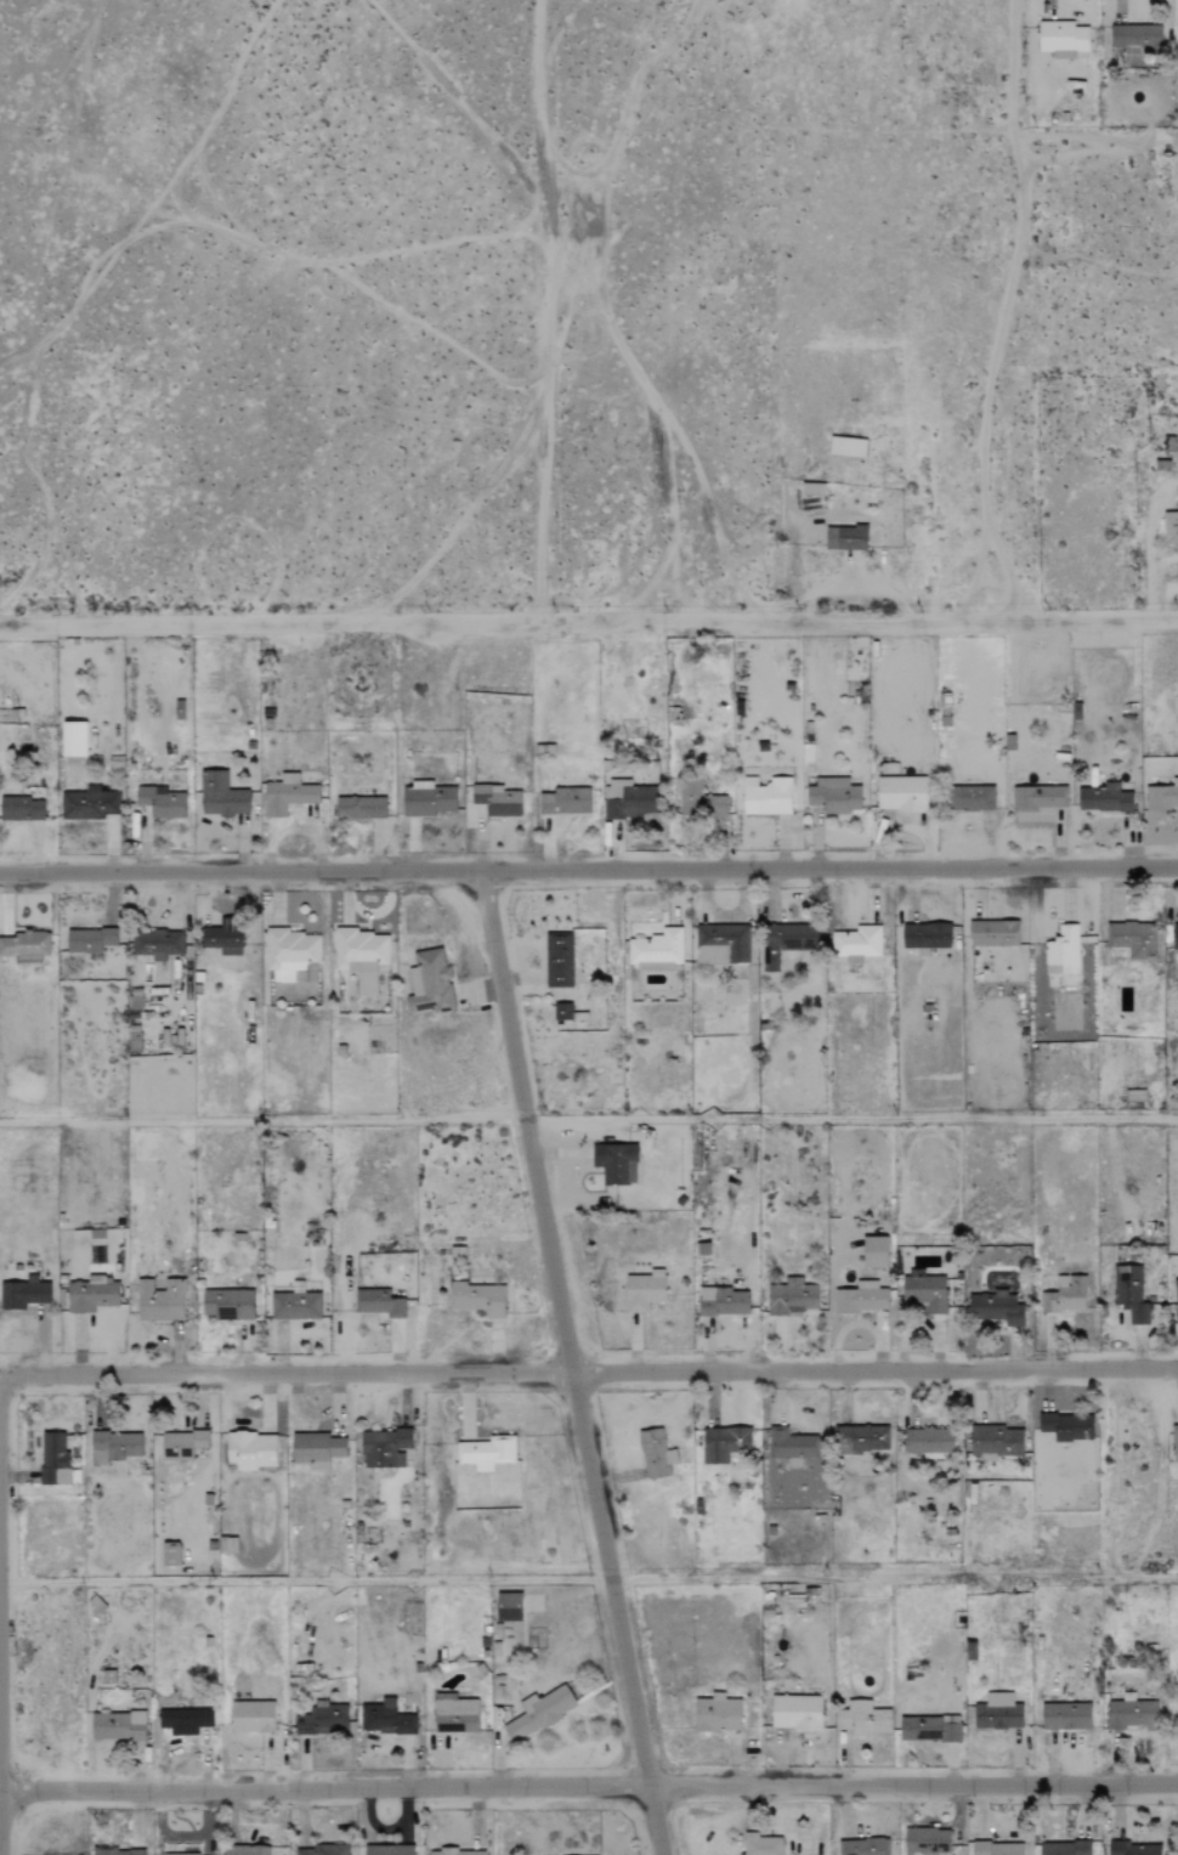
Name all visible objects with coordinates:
building: (1137, 38)
building: (1061, 39)
building: (846, 447)
building: (1169, 527)
building: (845, 538)
road: (588, 623)
building: (73, 740)
building: (287, 794)
building: (900, 794)
building: (220, 796)
building: (765, 796)
building: (833, 796)
building: (1162, 797)
building: (974, 798)
building: (1040, 798)
building: (629, 799)
building: (1104, 799)
building: (427, 801)
building: (495, 801)
building: (700, 801)
building: (160, 802)
building: (563, 802)
building: (87, 804)
building: (359, 808)
building: (21, 809)
road: (589, 871)
building: (993, 933)
building: (1174, 937)
building: (222, 938)
building: (90, 939)
building: (1133, 939)
building: (786, 941)
building: (157, 943)
building: (856, 943)
building: (721, 944)
building: (26, 945)
building: (656, 950)
building: (1063, 950)
building: (291, 955)
building: (359, 956)
building: (559, 960)
building: (429, 983)
building: (134, 1006)
building: (561, 1012)
building: (616, 1163)
building: (874, 1251)
building: (644, 1290)
building: (924, 1291)
building: (23, 1293)
building: (1129, 1293)
building: (1065, 1294)
building: (91, 1296)
building: (792, 1296)
building: (861, 1297)
building: (477, 1299)
building: (159, 1300)
building: (723, 1302)
building: (379, 1303)
building: (234, 1305)
building: (295, 1306)
building: (995, 1307)
building: (1176, 1308)
road: (570, 1363)
road: (588, 1373)
building: (1066, 1426)
building: (861, 1438)
building: (995, 1441)
building: (929, 1442)
building: (182, 1443)
building: (723, 1443)
building: (1174, 1443)
building: (789, 1444)
building: (113, 1446)
building: (384, 1447)
building: (316, 1448)
building: (250, 1450)
building: (486, 1452)
building: (656, 1454)
building: (52, 1458)
building: (227, 1545)
building: (174, 1555)
road: (305, 1578)
road: (894, 1578)
building: (508, 1606)
building: (1177, 1708)
building: (795, 1712)
building: (997, 1712)
building: (538, 1713)
building: (717, 1713)
building: (1132, 1714)
building: (455, 1715)
building: (251, 1717)
building: (1065, 1717)
building: (183, 1719)
building: (321, 1719)
building: (386, 1719)
building: (861, 1719)
building: (117, 1726)
building: (928, 1730)
road: (588, 1786)
building: (925, 1840)
building: (760, 1844)
building: (863, 1846)
building: (997, 1848)
building: (1065, 1848)
building: (1133, 1849)
building: (248, 1850)
building: (321, 1850)
building: (387, 1850)
building: (117, 1851)
building: (455, 1853)

